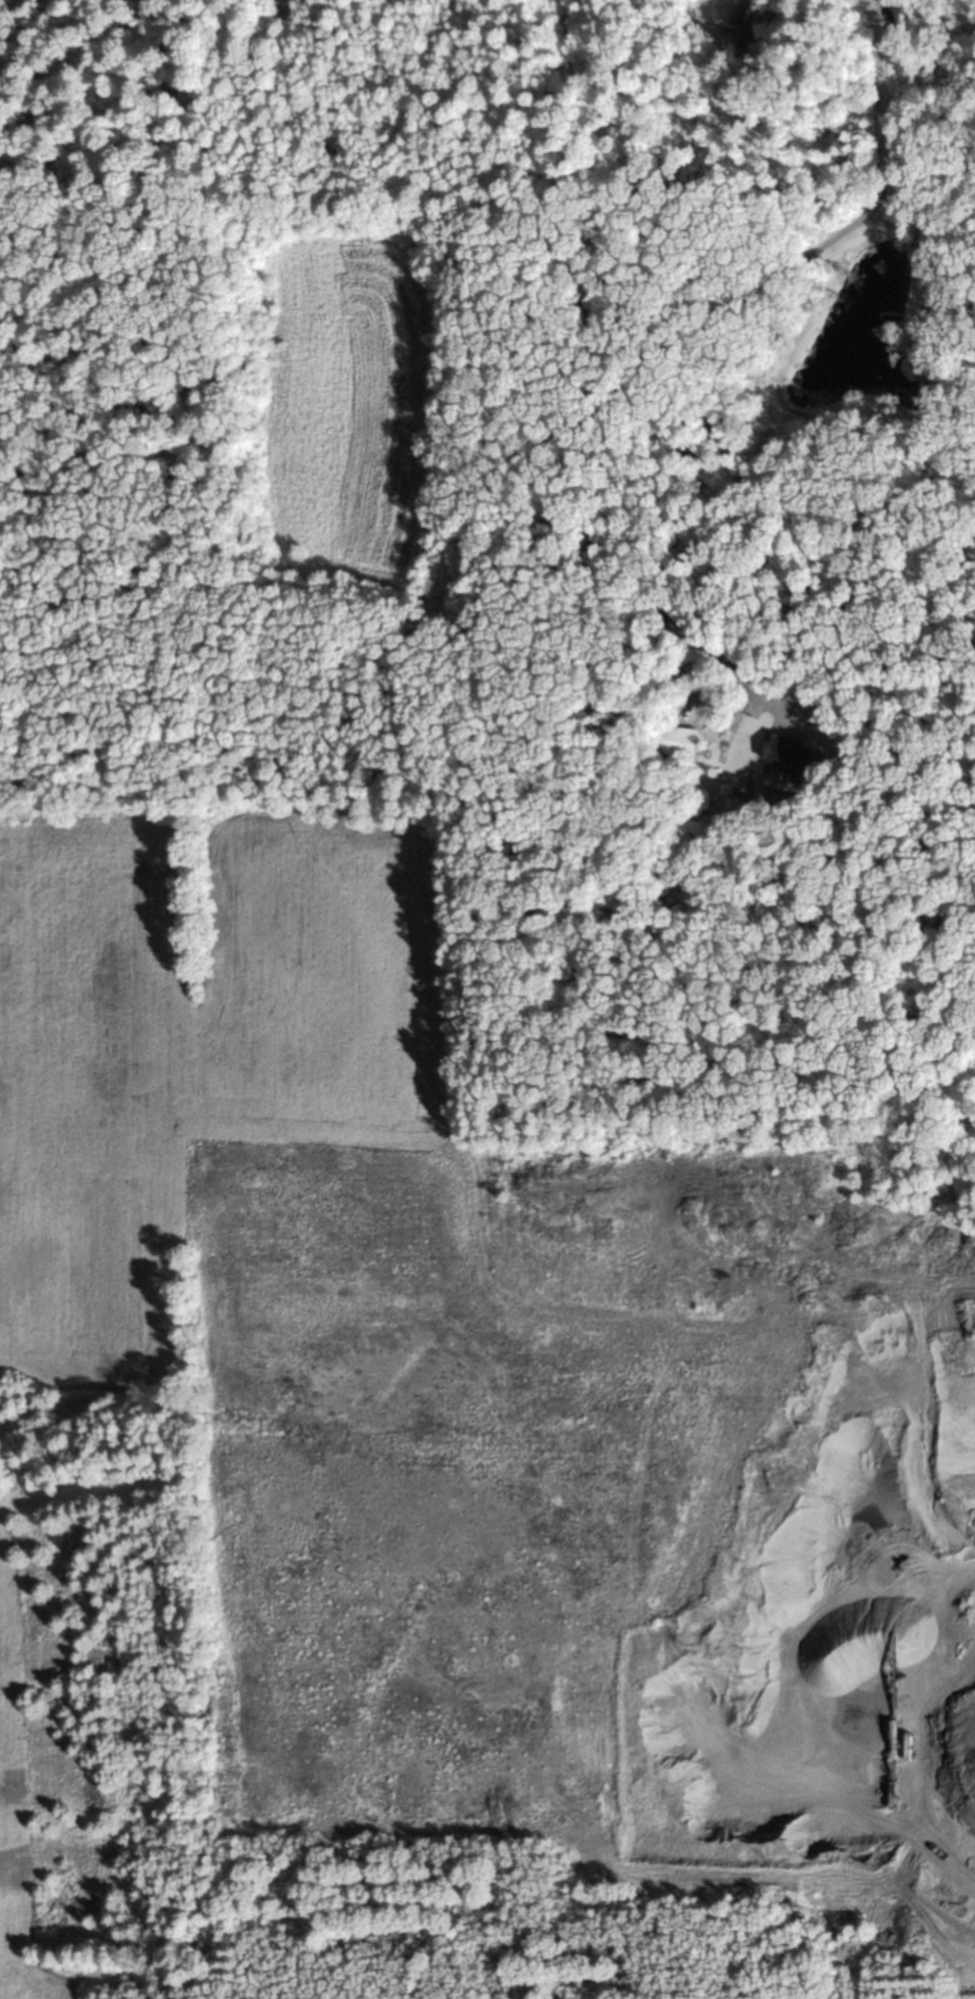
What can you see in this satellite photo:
road: (652, 365)
building: (675, 741)
building: (780, 751)

